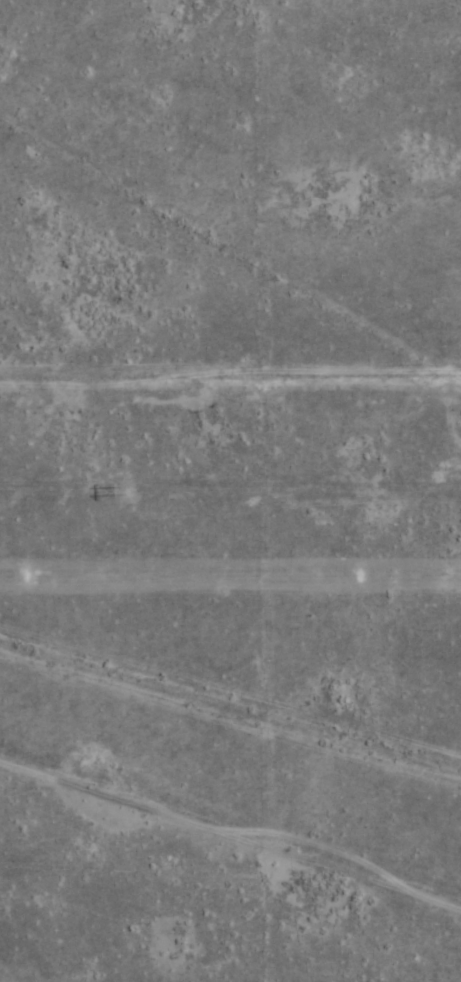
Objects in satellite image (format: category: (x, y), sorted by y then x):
power tower: (129, 491)
power tower: (360, 576)
power tower: (28, 577)

